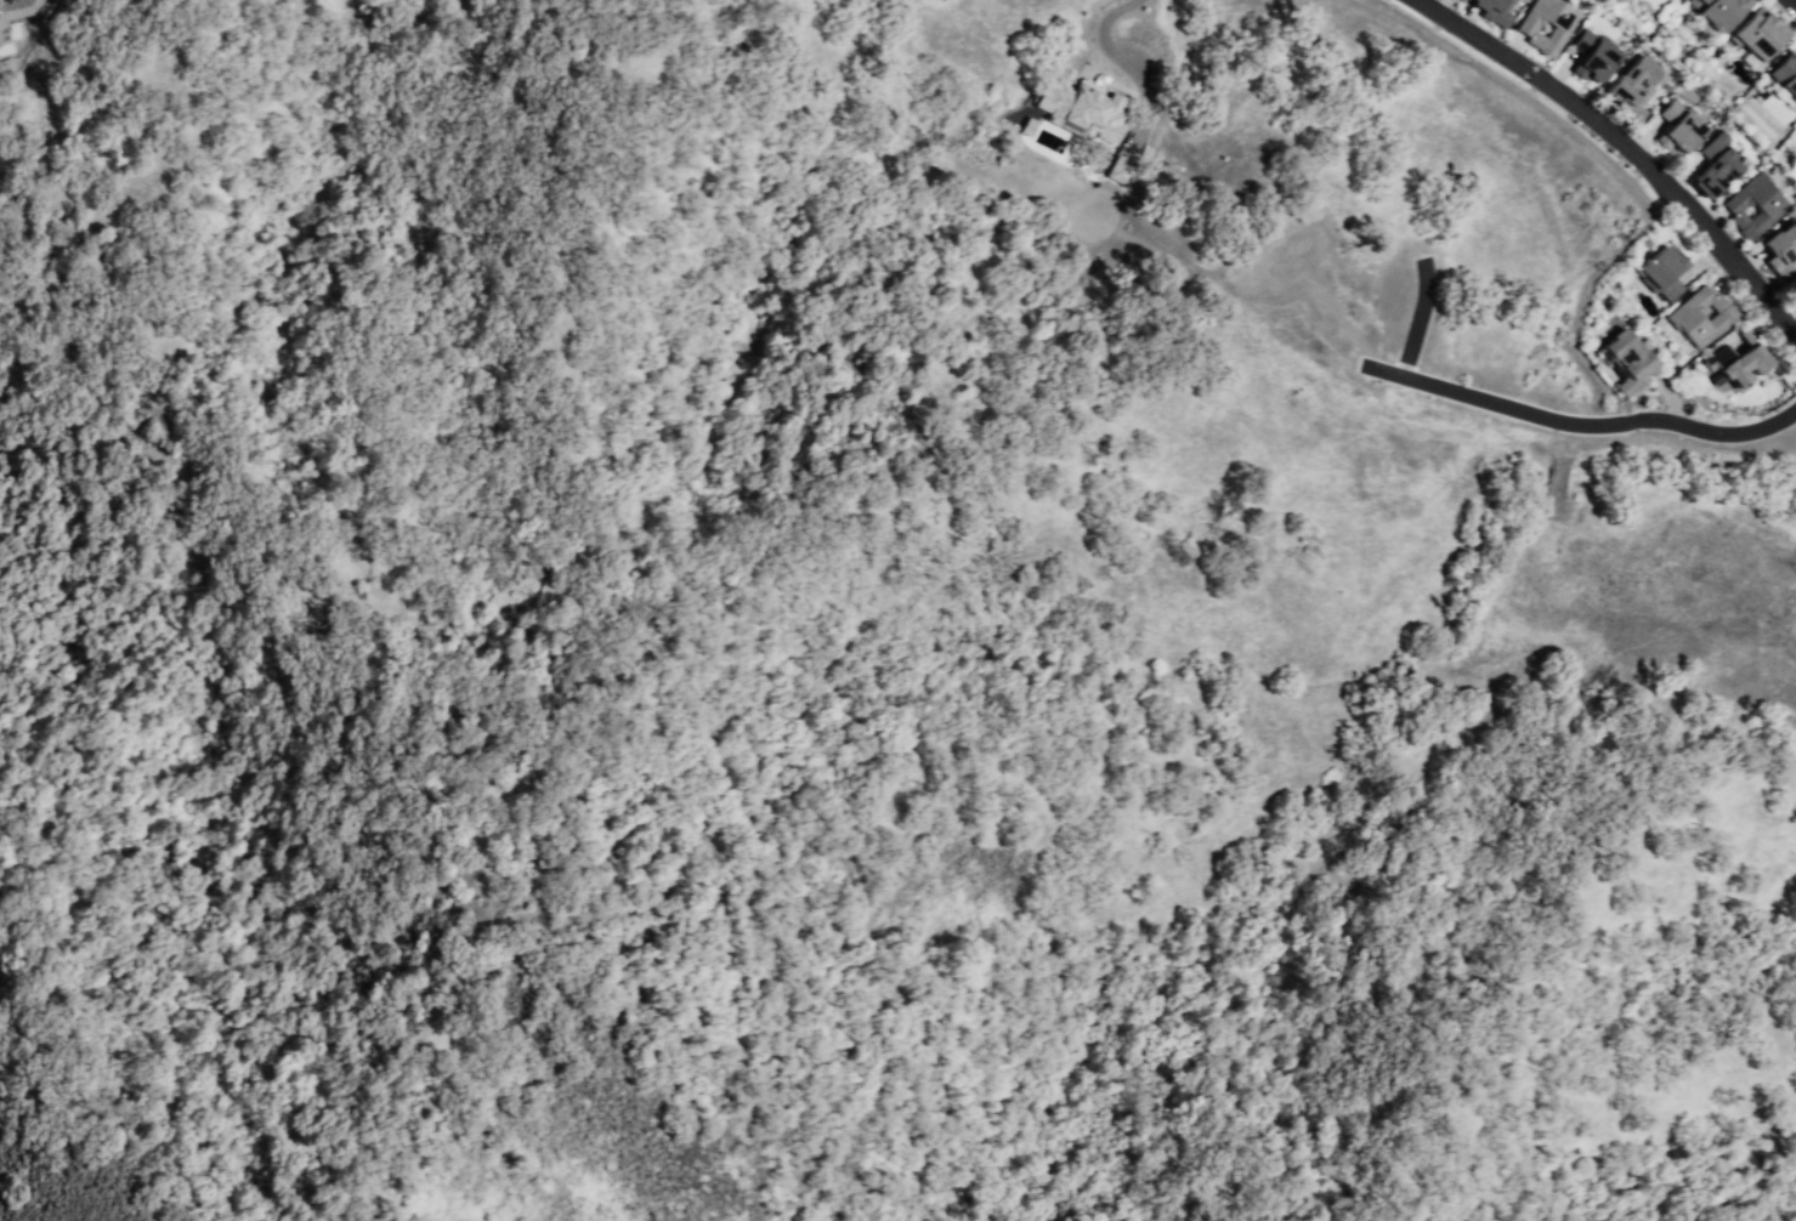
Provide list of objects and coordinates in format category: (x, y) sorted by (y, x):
building: (1451, 0)
building: (1713, 11)
building: (15, 12)
building: (1491, 12)
building: (1542, 24)
building: (1752, 36)
road: (1109, 52)
building: (1590, 57)
building: (1784, 80)
building: (1631, 87)
building: (1082, 109)
building: (1673, 127)
road: (1625, 154)
building: (1711, 166)
building: (1118, 170)
building: (1752, 205)
building: (1781, 248)
building: (1658, 277)
road: (1413, 319)
building: (1699, 322)
building: (1624, 367)
building: (1735, 370)
road: (1582, 426)
building: (1789, 433)

